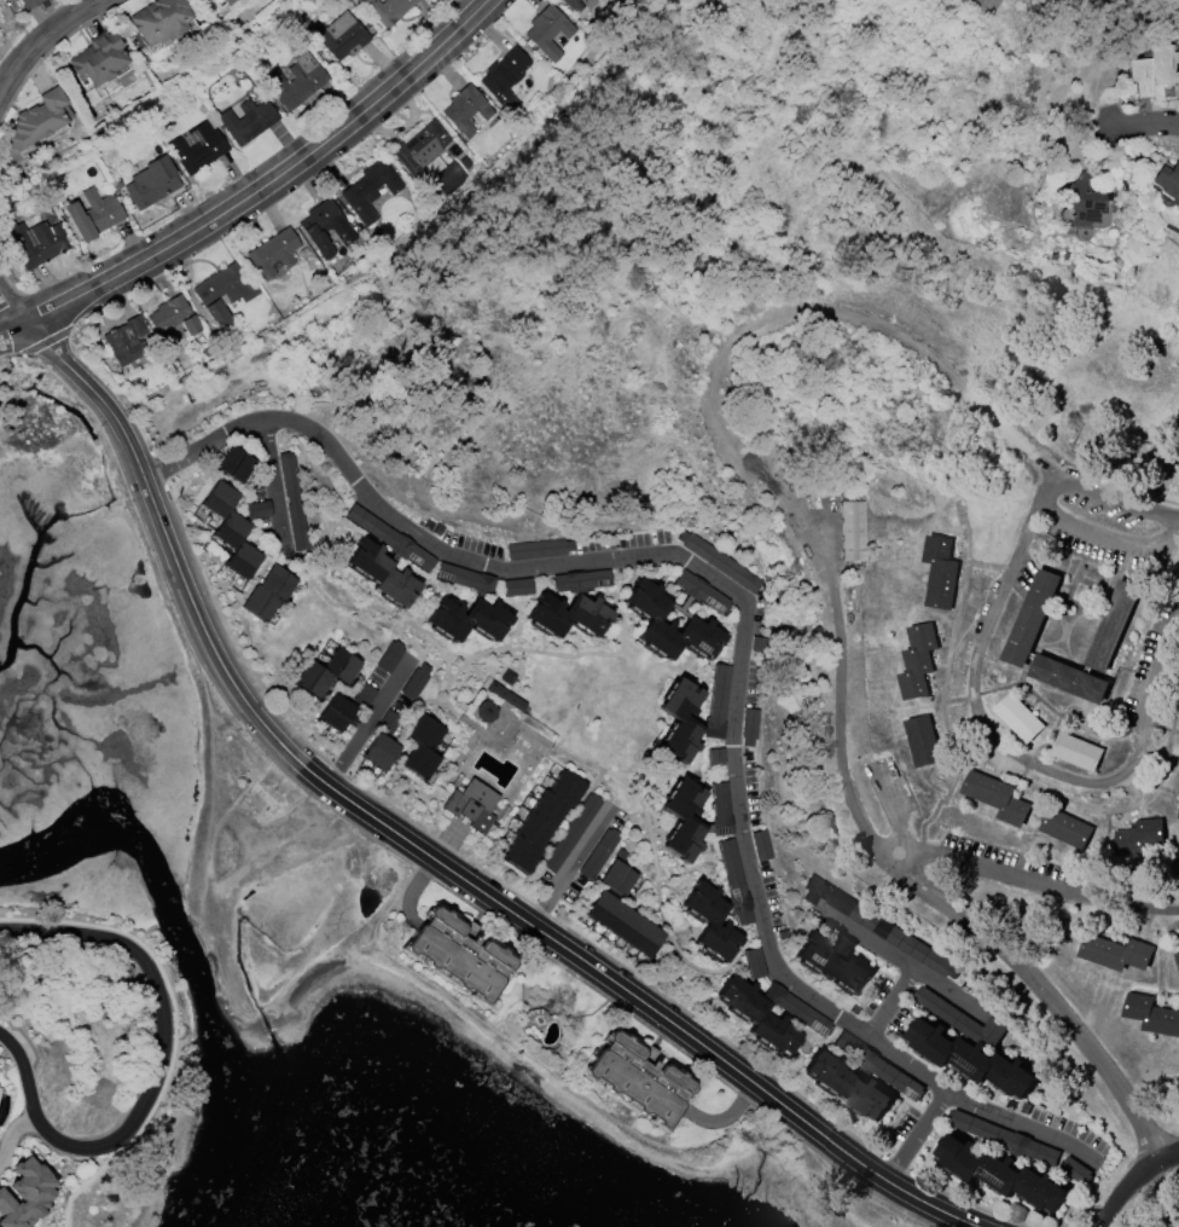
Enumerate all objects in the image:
building: (28, 2)
building: (227, 2)
building: (579, 4)
building: (388, 10)
building: (159, 22)
building: (547, 30)
building: (342, 36)
road: (56, 48)
building: (99, 58)
building: (1151, 71)
building: (504, 77)
building: (297, 81)
building: (465, 110)
building: (248, 120)
building: (37, 121)
road: (1145, 129)
building: (418, 145)
building: (197, 147)
building: (1167, 179)
building: (151, 183)
road: (271, 185)
building: (368, 190)
building: (1082, 198)
building: (93, 214)
building: (324, 227)
building: (34, 241)
building: (273, 253)
building: (223, 290)
road: (11, 306)
building: (172, 317)
road: (11, 330)
building: (126, 341)
road: (23, 354)
building: (236, 463)
building: (294, 502)
building: (257, 509)
road: (1160, 516)
building: (231, 529)
building: (853, 531)
road: (1109, 544)
building: (540, 549)
road: (815, 551)
building: (719, 561)
building: (940, 571)
building: (381, 572)
building: (464, 578)
building: (516, 586)
building: (702, 592)
building: (267, 594)
road: (745, 601)
building: (567, 614)
building: (1032, 615)
building: (466, 618)
road: (989, 623)
building: (668, 624)
building: (1113, 624)
road: (187, 633)
building: (389, 656)
building: (918, 659)
road: (1161, 666)
building: (326, 671)
building: (1069, 677)
building: (364, 695)
building: (505, 695)
building: (336, 711)
building: (484, 711)
building: (1018, 716)
road: (368, 720)
building: (680, 720)
building: (924, 739)
building: (422, 746)
building: (1078, 749)
building: (379, 751)
road: (1103, 782)
building: (995, 795)
building: (471, 804)
building: (720, 808)
building: (1178, 814)
building: (683, 818)
building: (541, 820)
building: (1067, 827)
building: (570, 832)
building: (1138, 835)
building: (761, 845)
road: (420, 850)
building: (598, 853)
road: (565, 861)
building: (617, 876)
building: (734, 884)
road: (1039, 886)
building: (710, 920)
building: (625, 924)
building: (878, 926)
road: (873, 942)
building: (1114, 950)
building: (458, 953)
building: (1177, 956)
building: (834, 961)
building: (754, 962)
road: (911, 967)
road: (589, 985)
building: (1151, 1013)
building: (757, 1015)
road: (167, 1032)
road: (524, 1053)
building: (971, 1057)
road: (24, 1071)
building: (637, 1077)
building: (848, 1084)
road: (1020, 1119)
road: (11, 1131)
building: (993, 1131)
building: (1001, 1171)
road: (844, 1173)
road: (1133, 1179)
building: (24, 1194)

